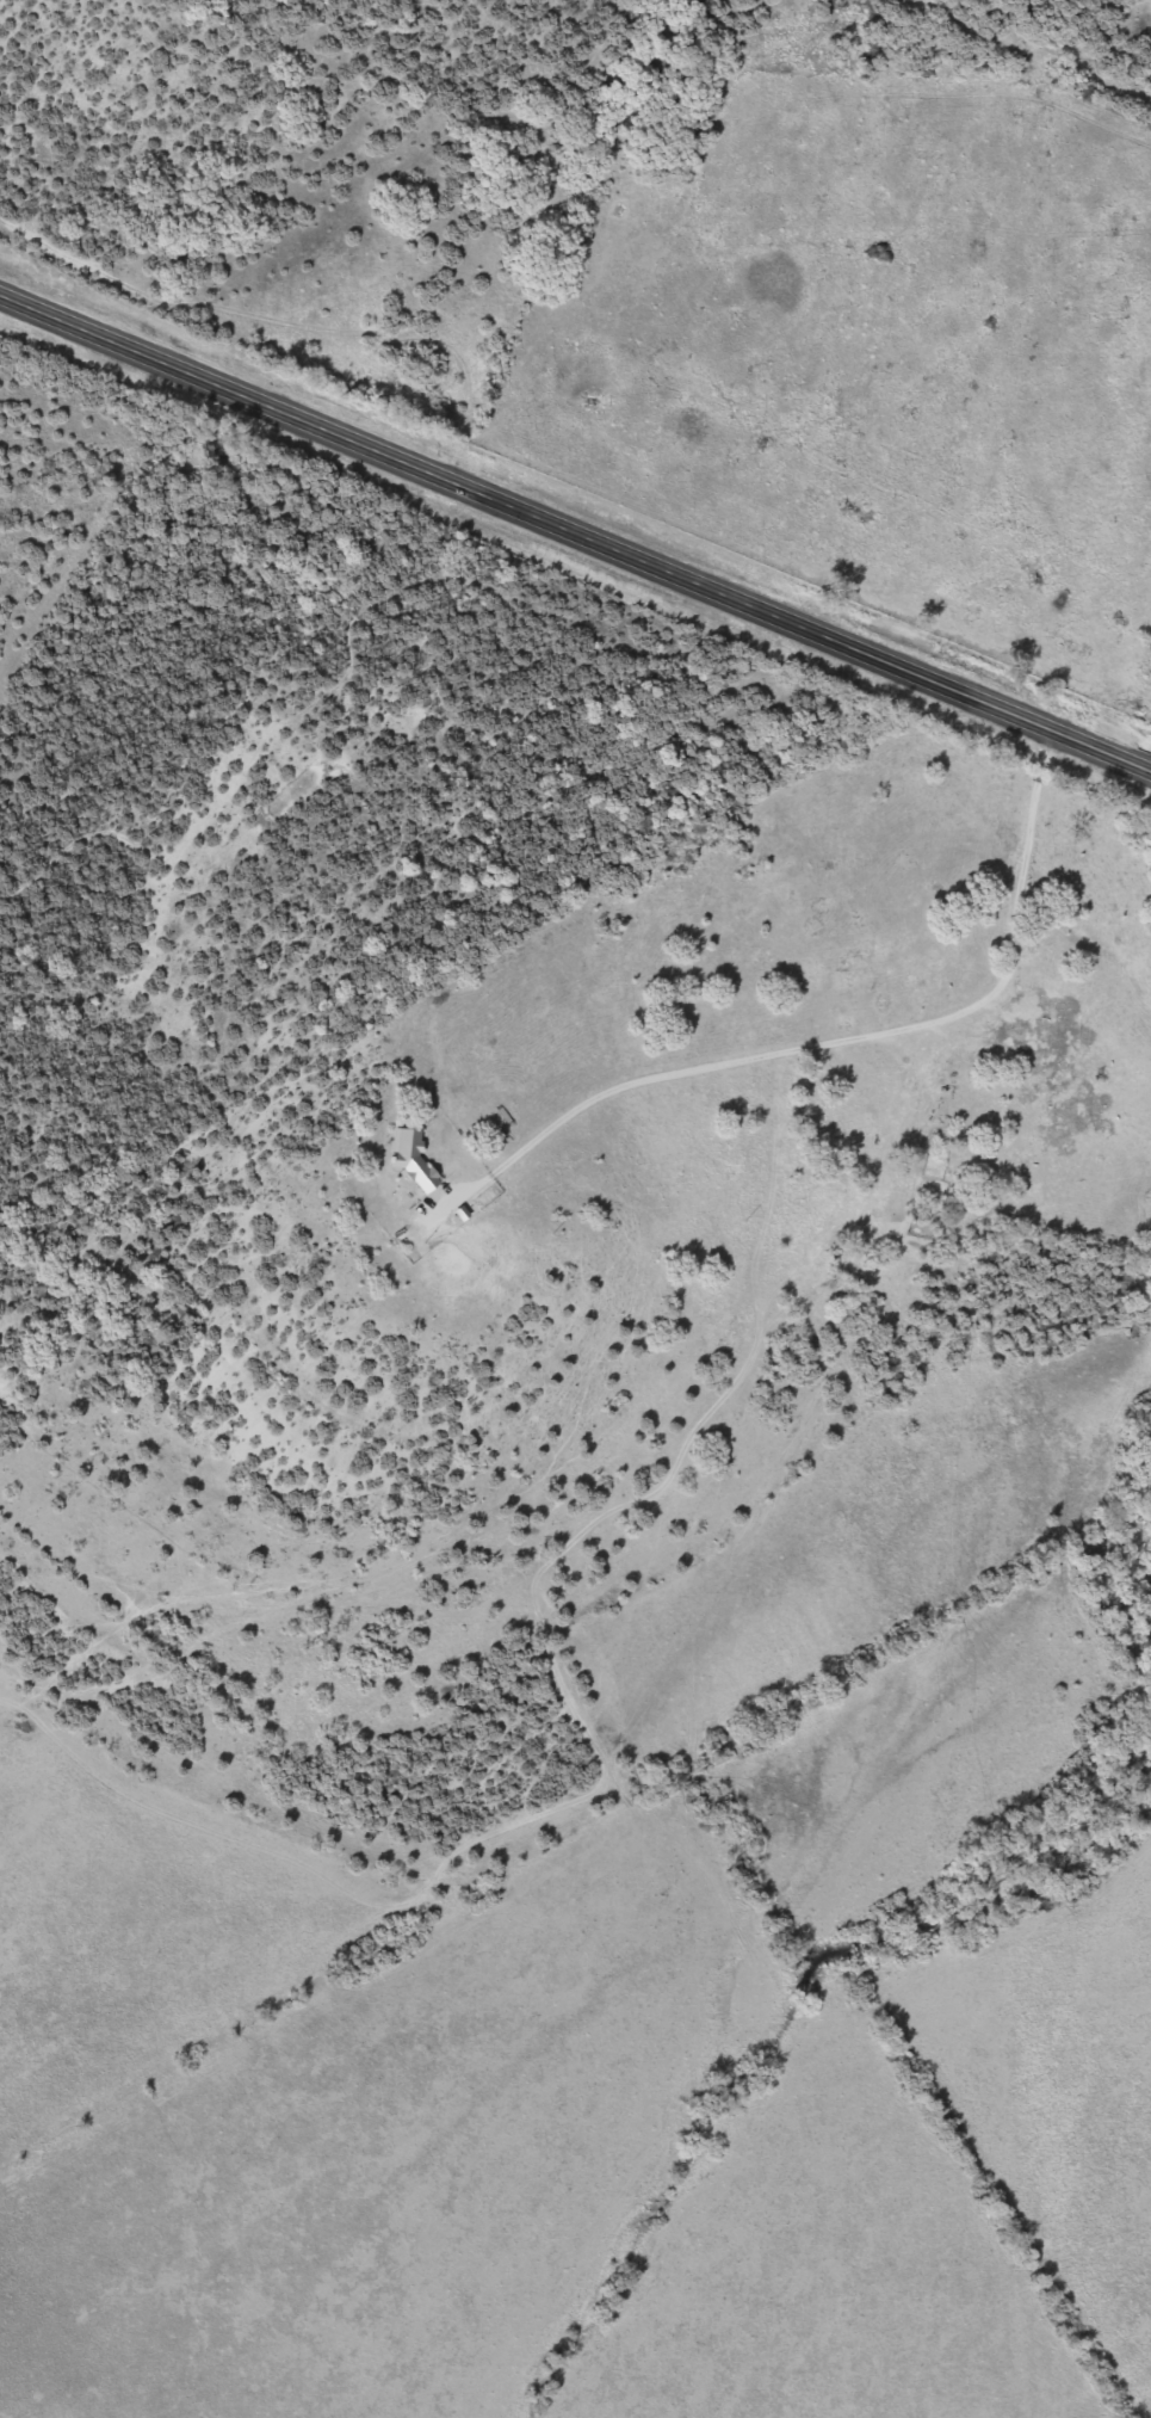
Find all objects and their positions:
road: (575, 528)
building: (411, 1155)
road: (707, 1438)

